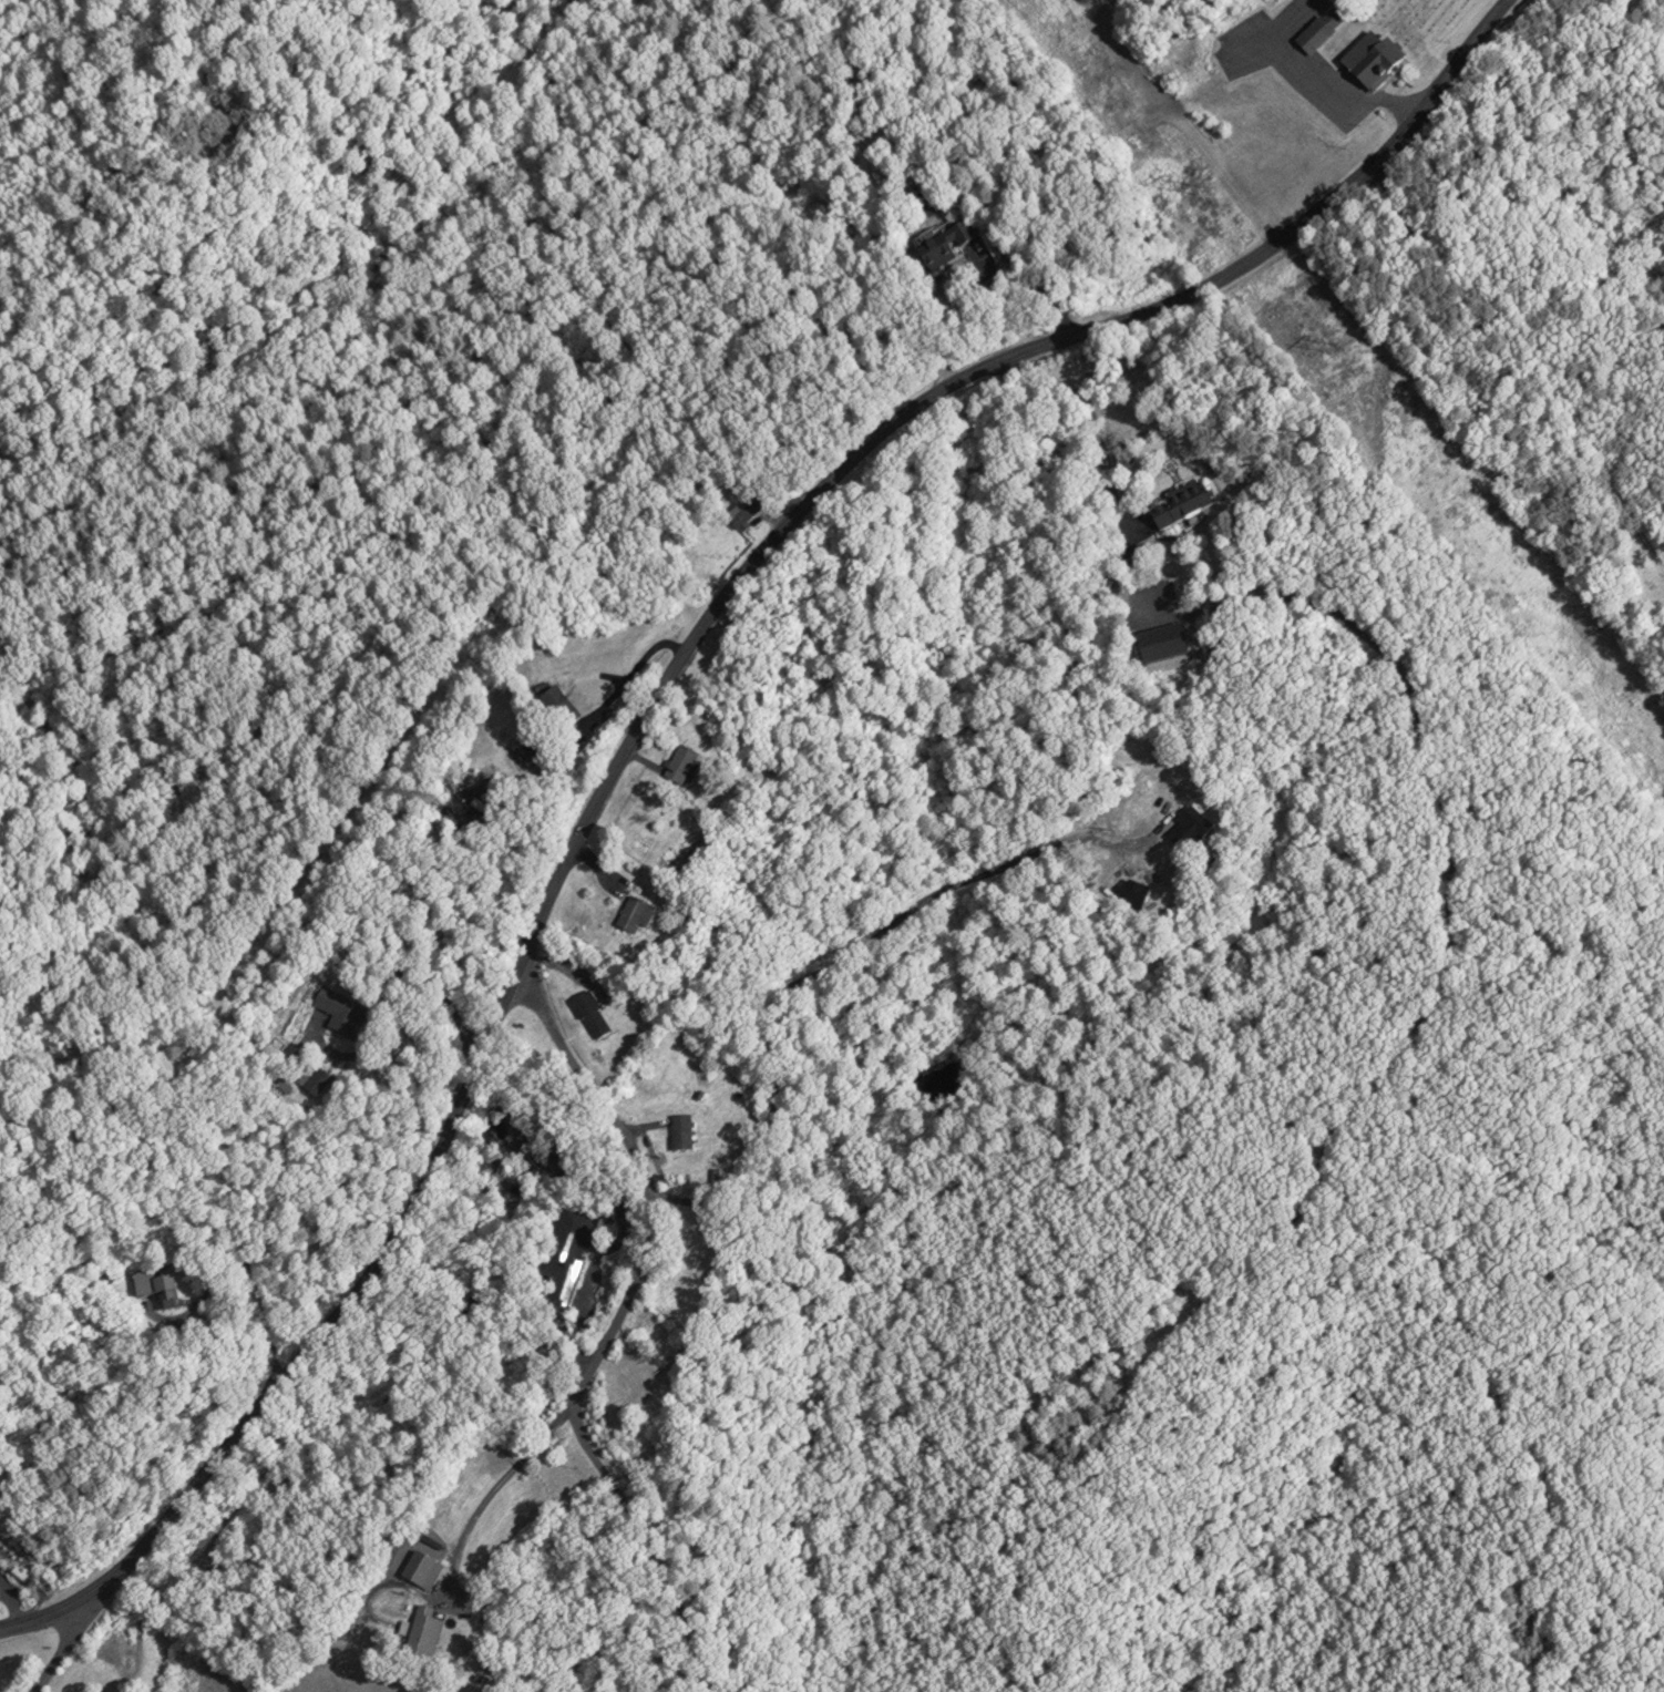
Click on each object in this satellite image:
building: (1319, 27)
building: (1366, 58)
road: (1335, 89)
power tower: (1200, 191)
building: (942, 244)
power tower: (1328, 346)
road: (1096, 429)
building: (1171, 510)
building: (740, 514)
road: (671, 673)
building: (554, 706)
road: (593, 722)
building: (677, 765)
building: (1181, 834)
road: (1452, 852)
building: (629, 916)
road: (861, 950)
road: (391, 983)
building: (338, 1009)
building: (586, 1015)
building: (677, 1132)
building: (565, 1250)
road: (251, 1269)
building: (152, 1288)
road: (614, 1327)
road: (491, 1495)
road: (47, 1614)
building: (419, 1629)
road: (66, 1644)

